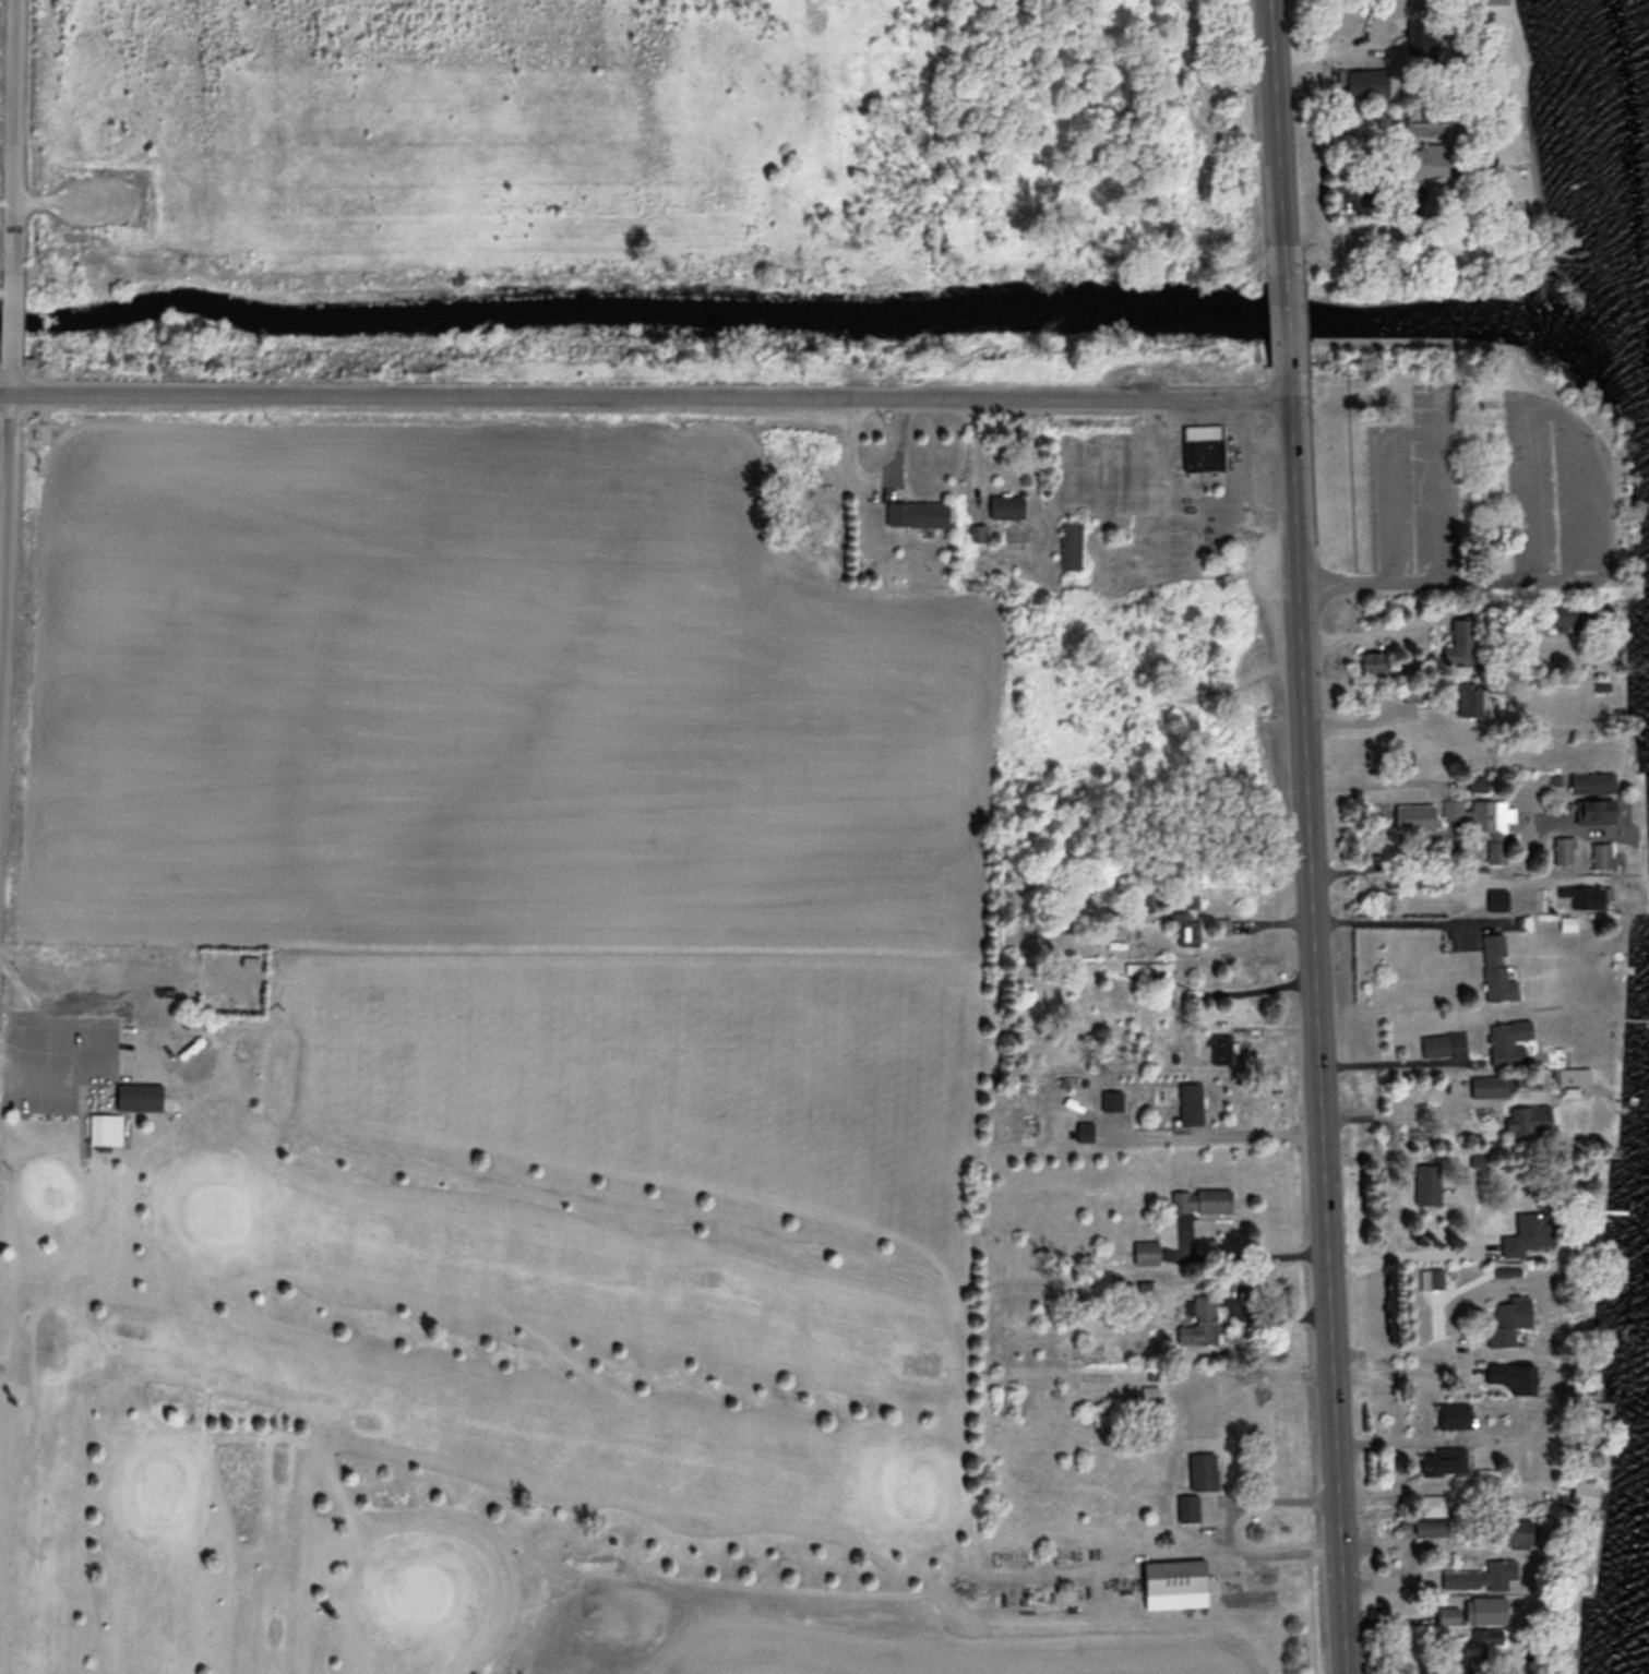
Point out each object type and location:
building: (1420, 36)
building: (1369, 82)
building: (1425, 121)
road: (11, 136)
road: (1277, 140)
building: (1431, 157)
parking lot: (103, 194)
road: (1412, 292)
river: (825, 312)
road: (1311, 315)
road: (10, 316)
road: (1289, 323)
road: (1448, 338)
road: (646, 395)
building: (1204, 445)
parking lot: (1412, 480)
parking lot: (1554, 487)
road: (5, 494)
building: (1006, 505)
building: (917, 512)
building: (1070, 545)
road: (1451, 579)
building: (1572, 615)
building: (1462, 643)
building: (1374, 660)
building: (1412, 691)
building: (1473, 697)
building: (1473, 750)
building: (1593, 781)
building: (1597, 809)
building: (1484, 820)
building: (1563, 848)
building: (1602, 853)
building: (1585, 895)
building: (1497, 898)
building: (1191, 899)
road: (1393, 918)
building: (1567, 922)
building: (1185, 928)
building: (1496, 968)
building: (148, 1012)
road: (1318, 1019)
building: (1509, 1039)
building: (1435, 1043)
building: (1222, 1048)
parking lot: (60, 1052)
road: (1393, 1059)
building: (1574, 1074)
building: (1489, 1084)
building: (140, 1095)
building: (1191, 1101)
road: (1395, 1110)
building: (1530, 1117)
building: (105, 1127)
building: (1085, 1129)
road: (1241, 1129)
building: (1200, 1198)
building: (1529, 1231)
building: (1146, 1249)
building: (1198, 1317)
building: (1507, 1318)
park: (481, 1326)
road: (1398, 1346)
road: (1394, 1368)
building: (1197, 1408)
building: (1457, 1413)
building: (1443, 1459)
building: (1203, 1469)
building: (1432, 1503)
building: (1187, 1505)
building: (1431, 1526)
building: (1515, 1530)
building: (1482, 1575)
building: (1174, 1581)
building: (1478, 1602)
building: (1479, 1648)

